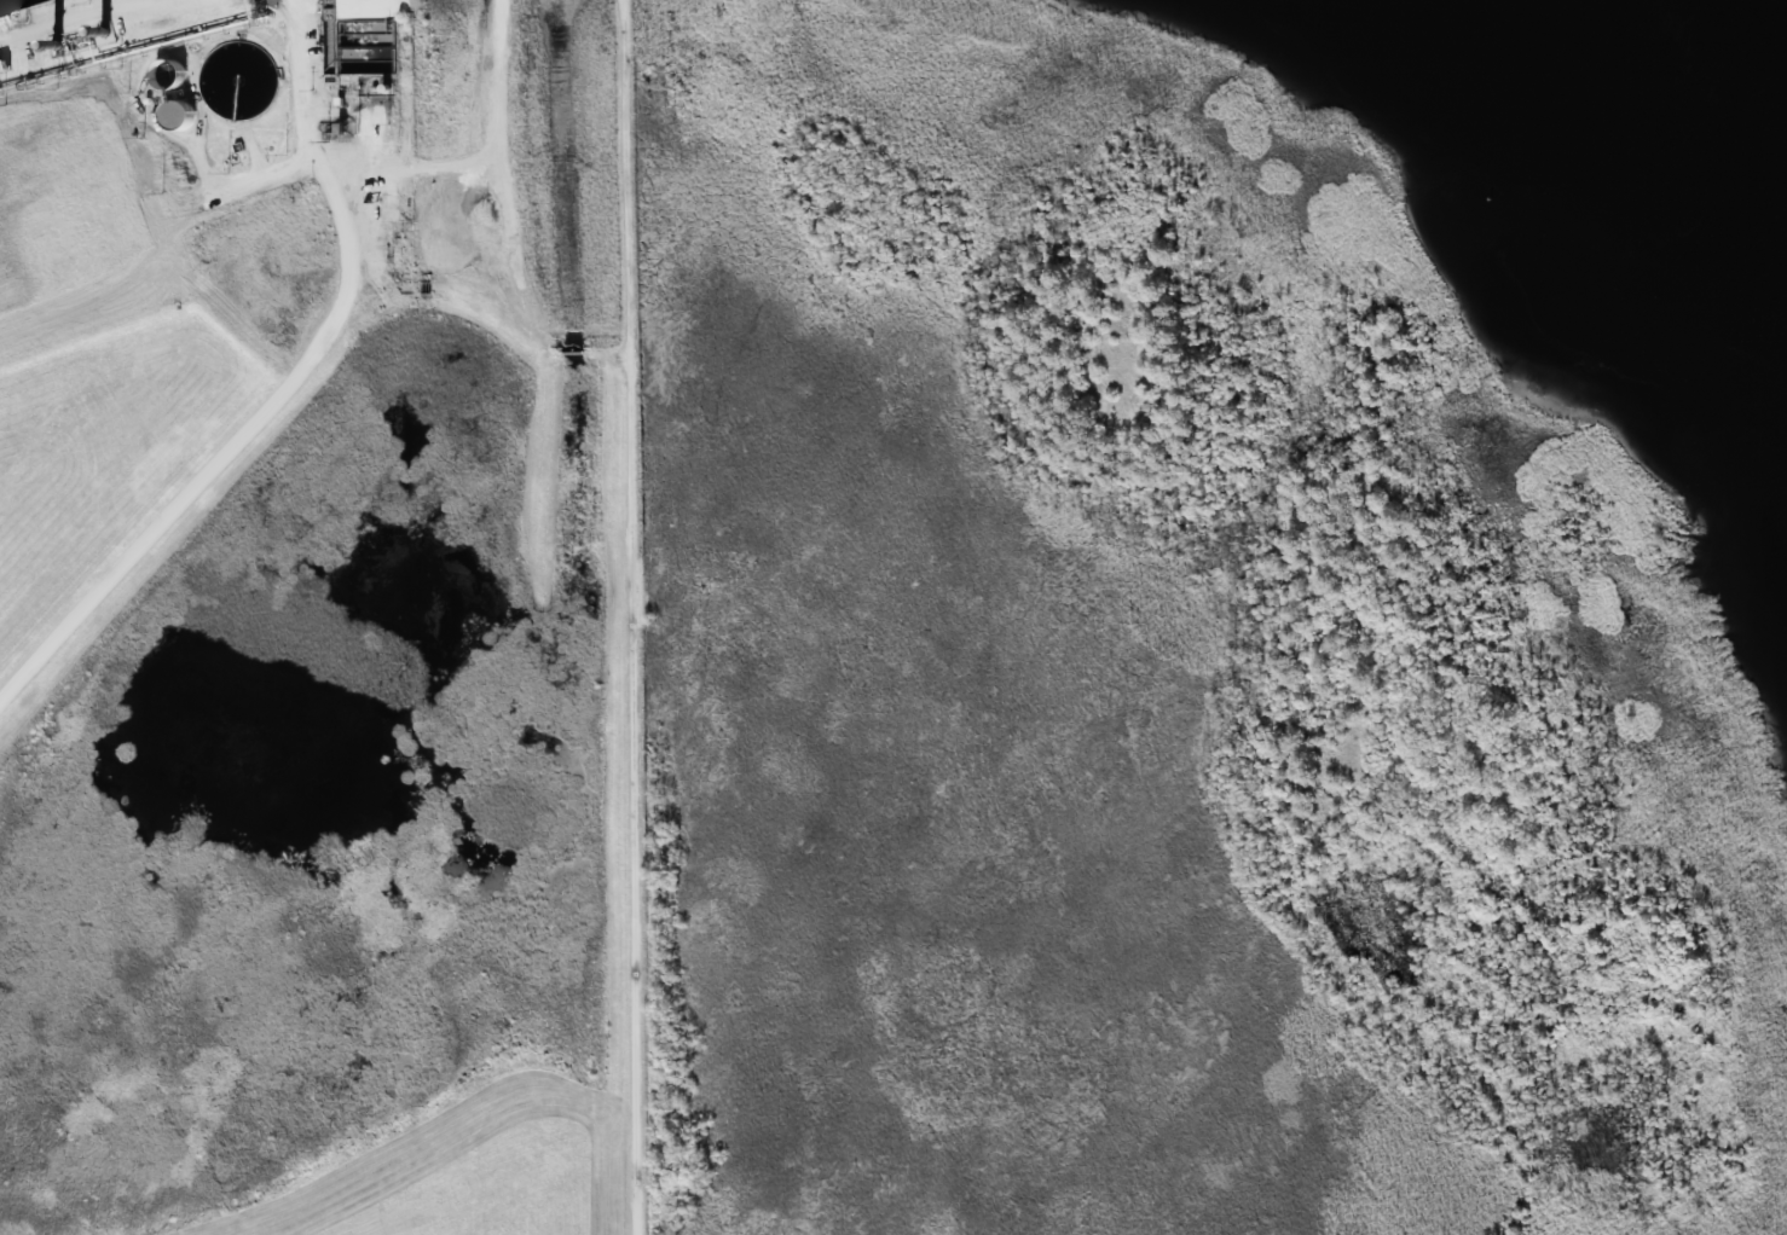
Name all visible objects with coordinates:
road: (92, 18)
road: (237, 195)
road: (285, 389)
road: (644, 616)

